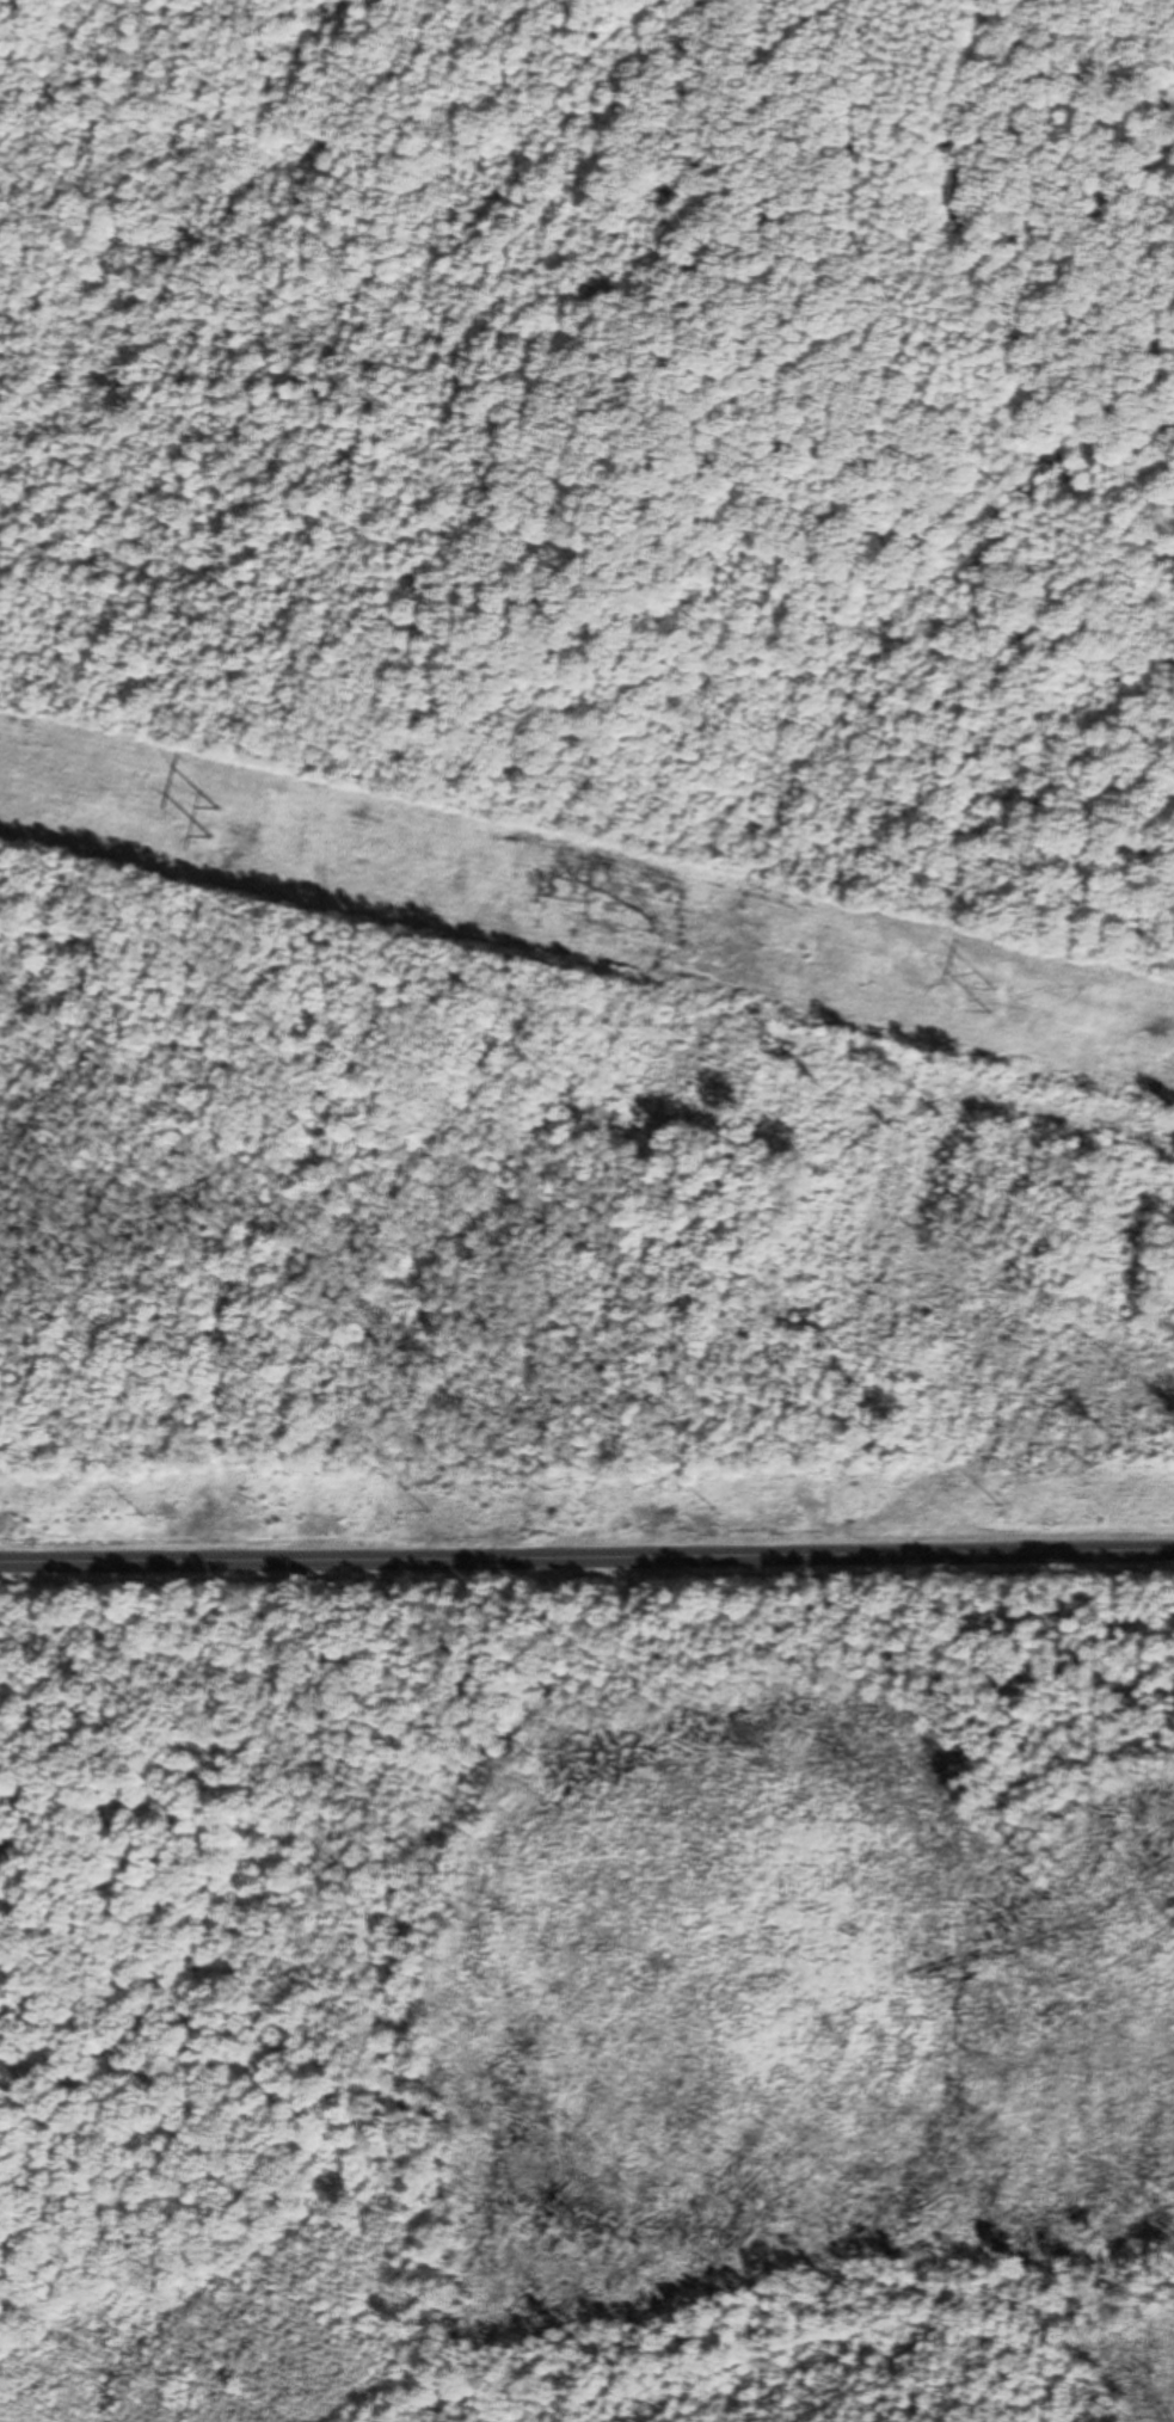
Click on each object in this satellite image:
power tower: (216, 824)
power tower: (1002, 1003)
road: (586, 1565)

